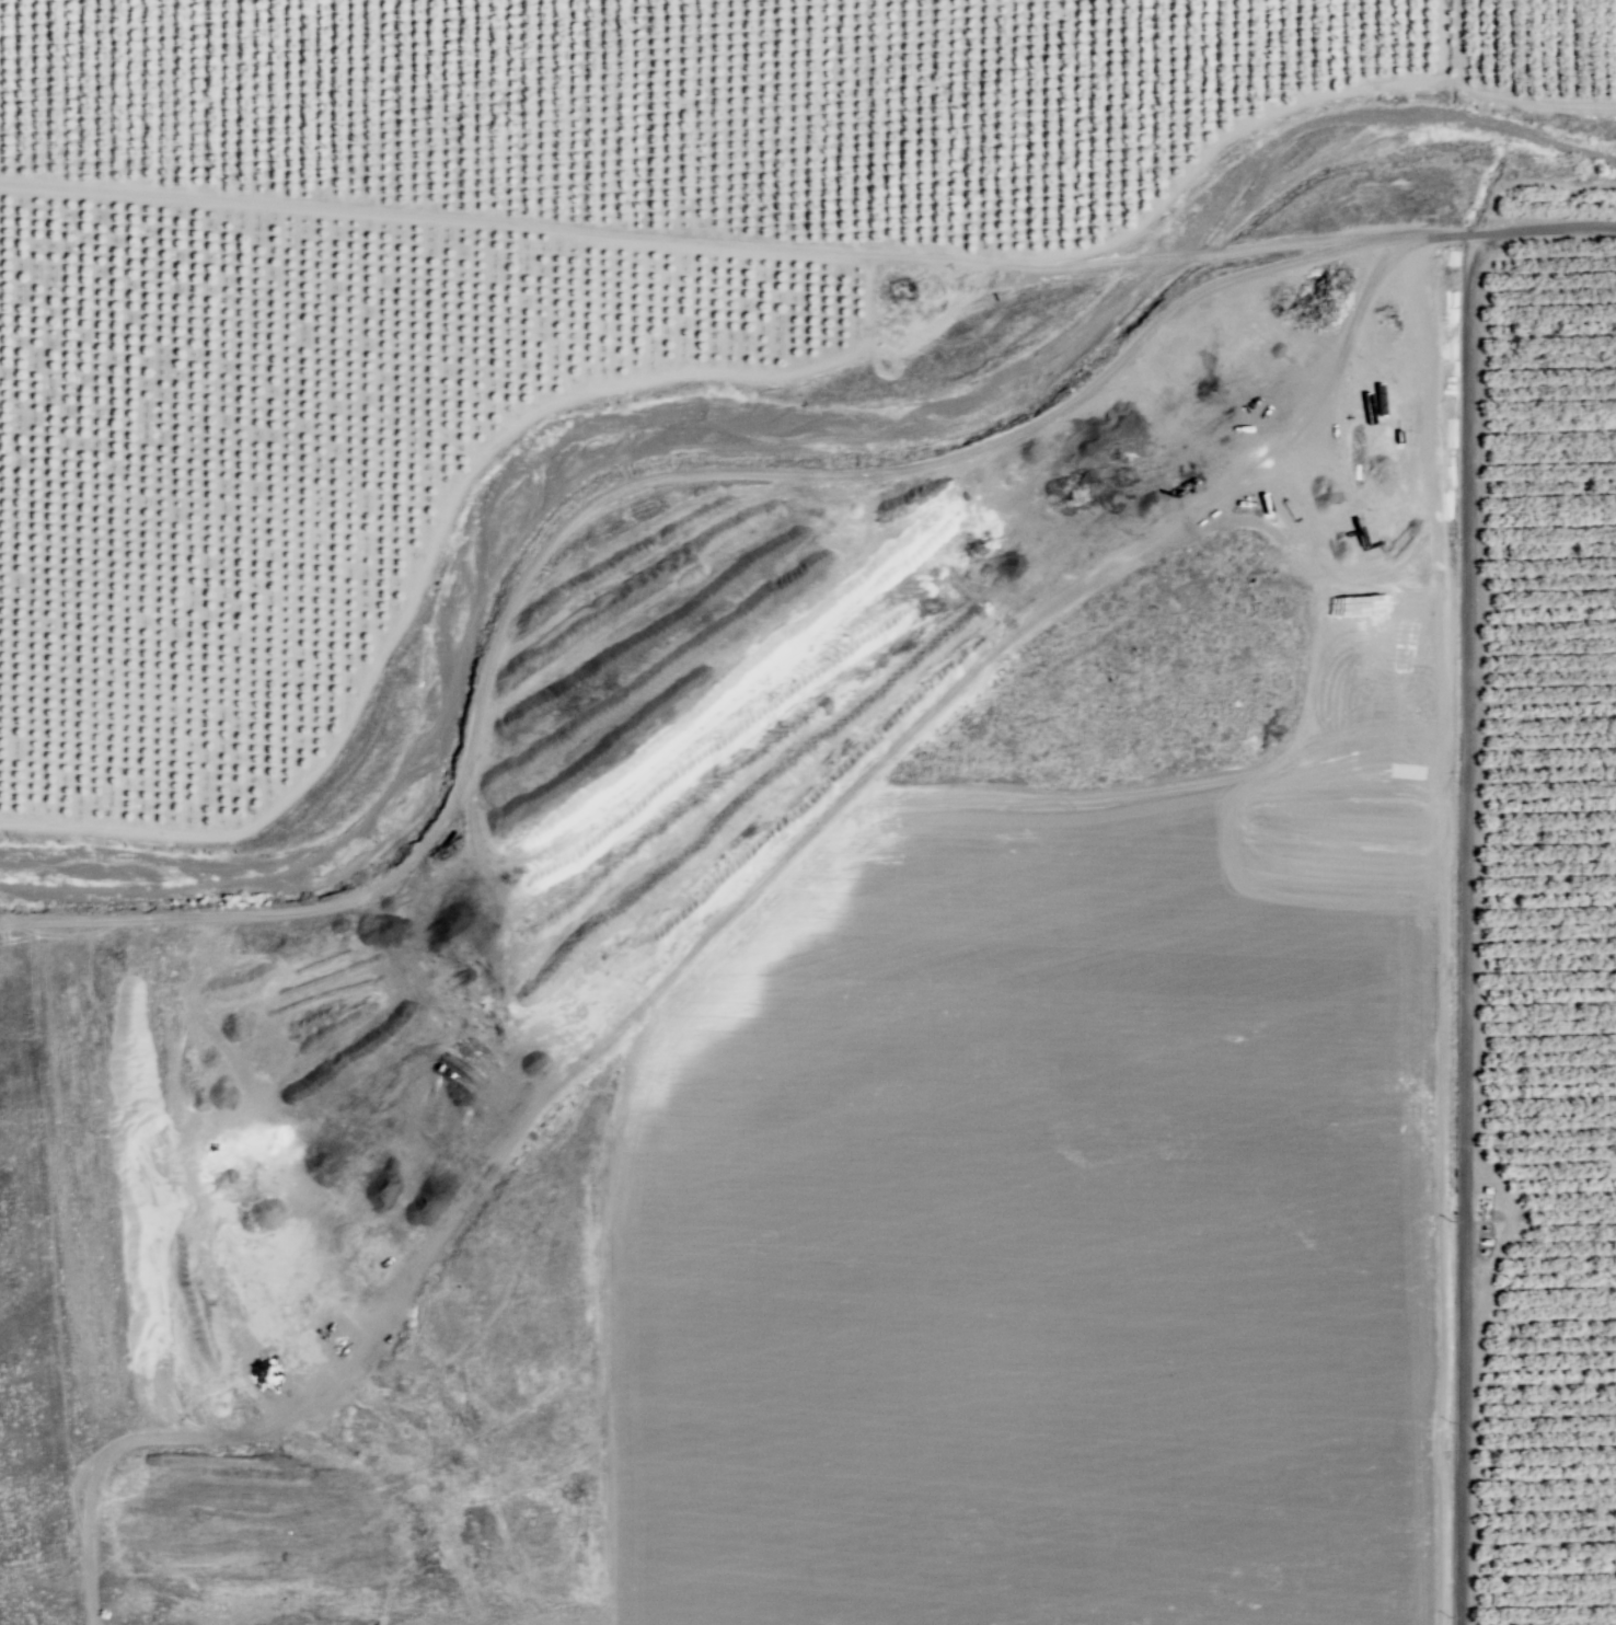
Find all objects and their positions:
road: (1440, 39)
road: (1455, 41)
road: (1282, 111)
road: (1505, 228)
road: (697, 242)
road: (1112, 468)
road: (1420, 476)
road: (609, 491)
road: (443, 520)
road: (1464, 922)
road: (704, 935)

